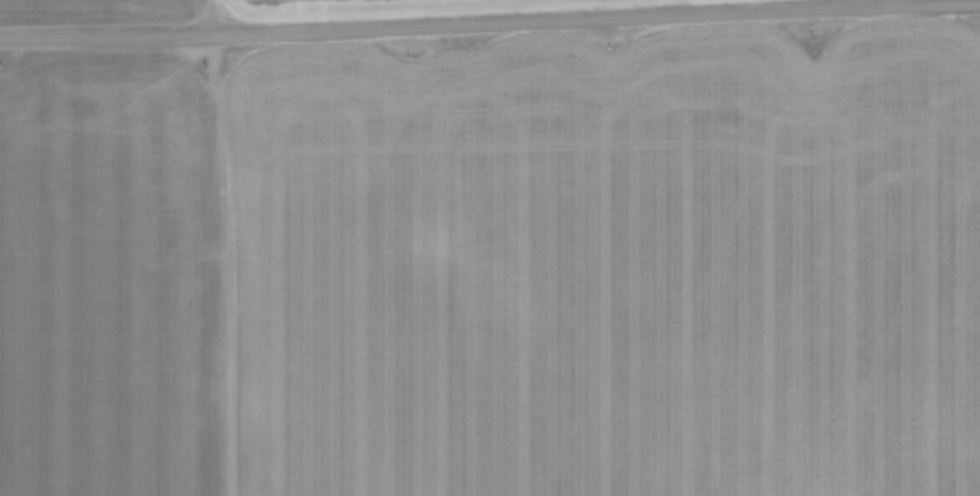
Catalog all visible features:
crop: (235, 7)
road: (490, 24)
crop: (497, 268)

